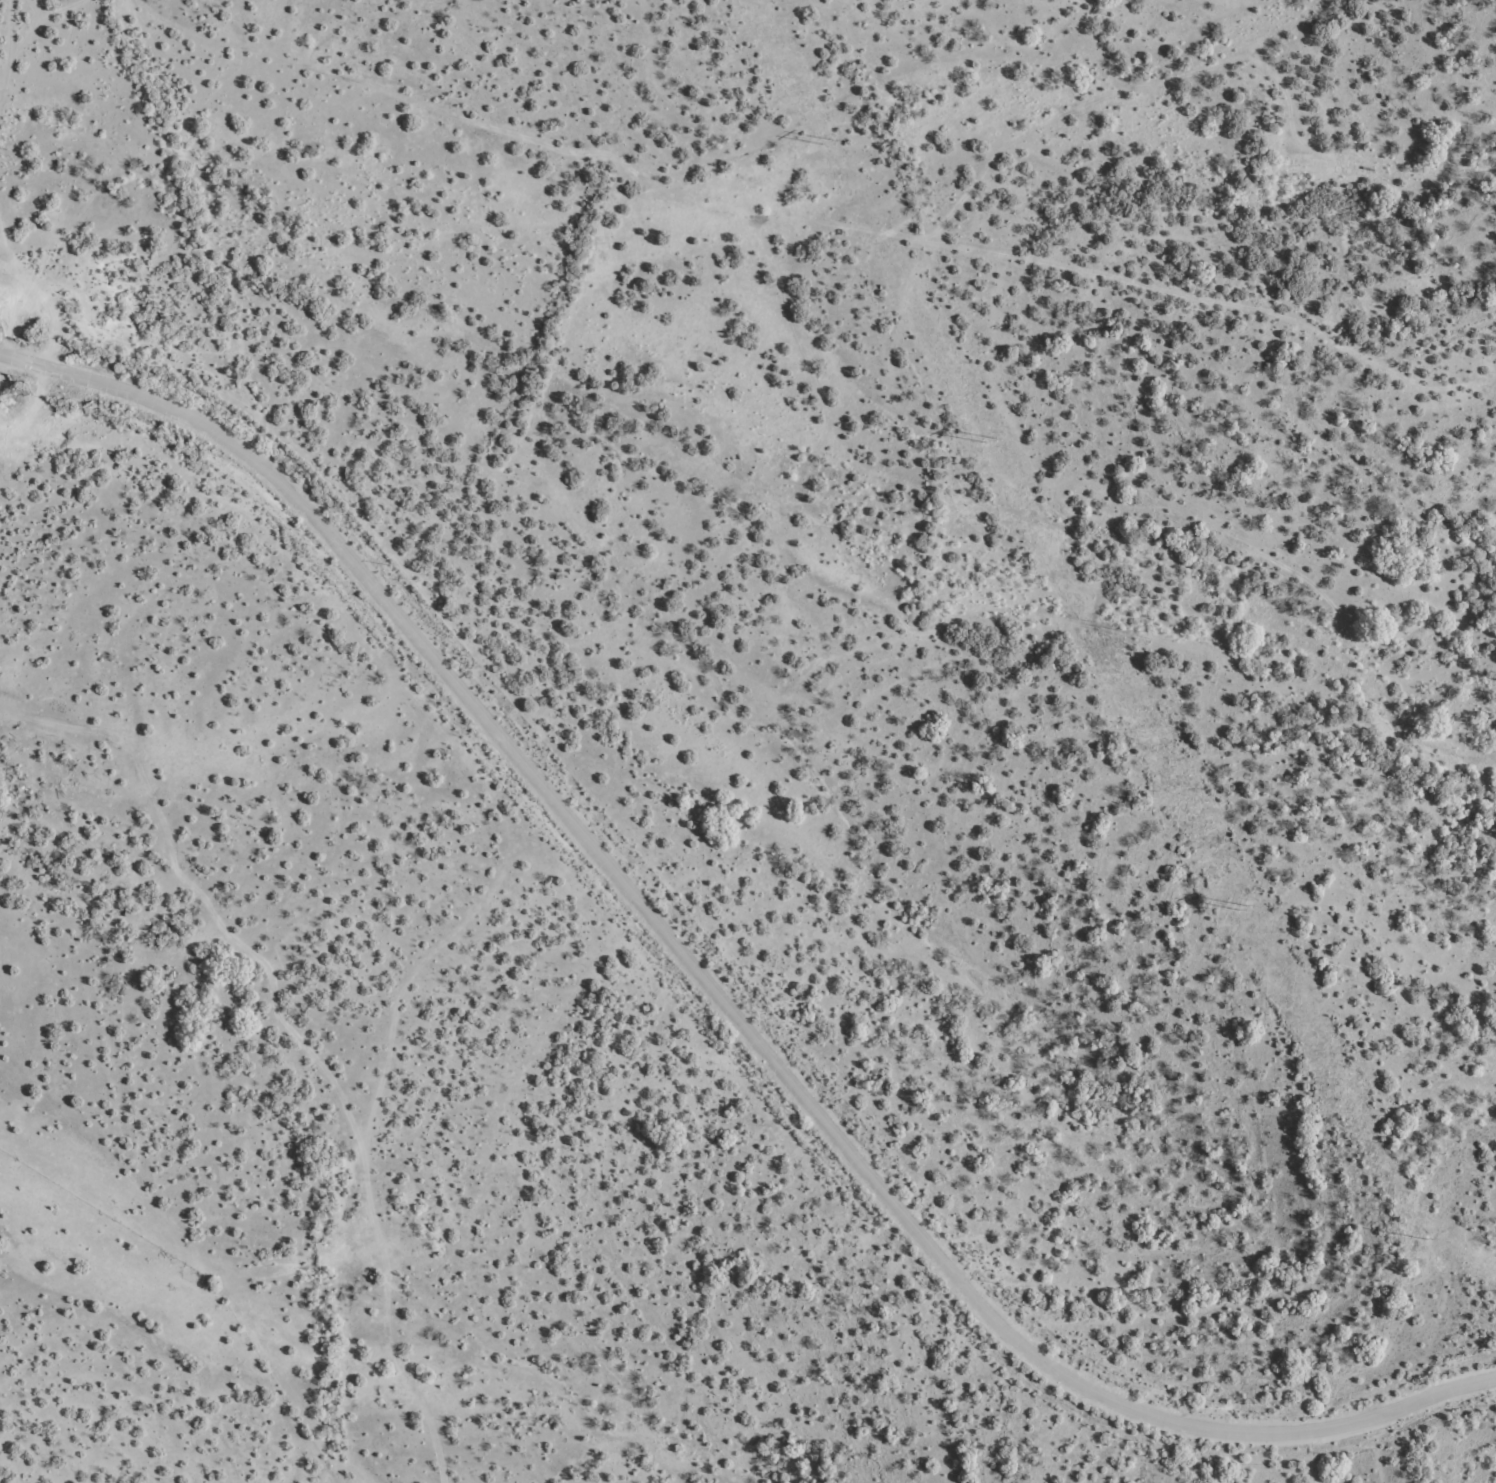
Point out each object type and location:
power tower: (822, 140)
power tower: (1, 147)
road: (22, 202)
power tower: (991, 440)
power tower: (1247, 907)
road: (712, 991)
power tower: (1441, 1242)

